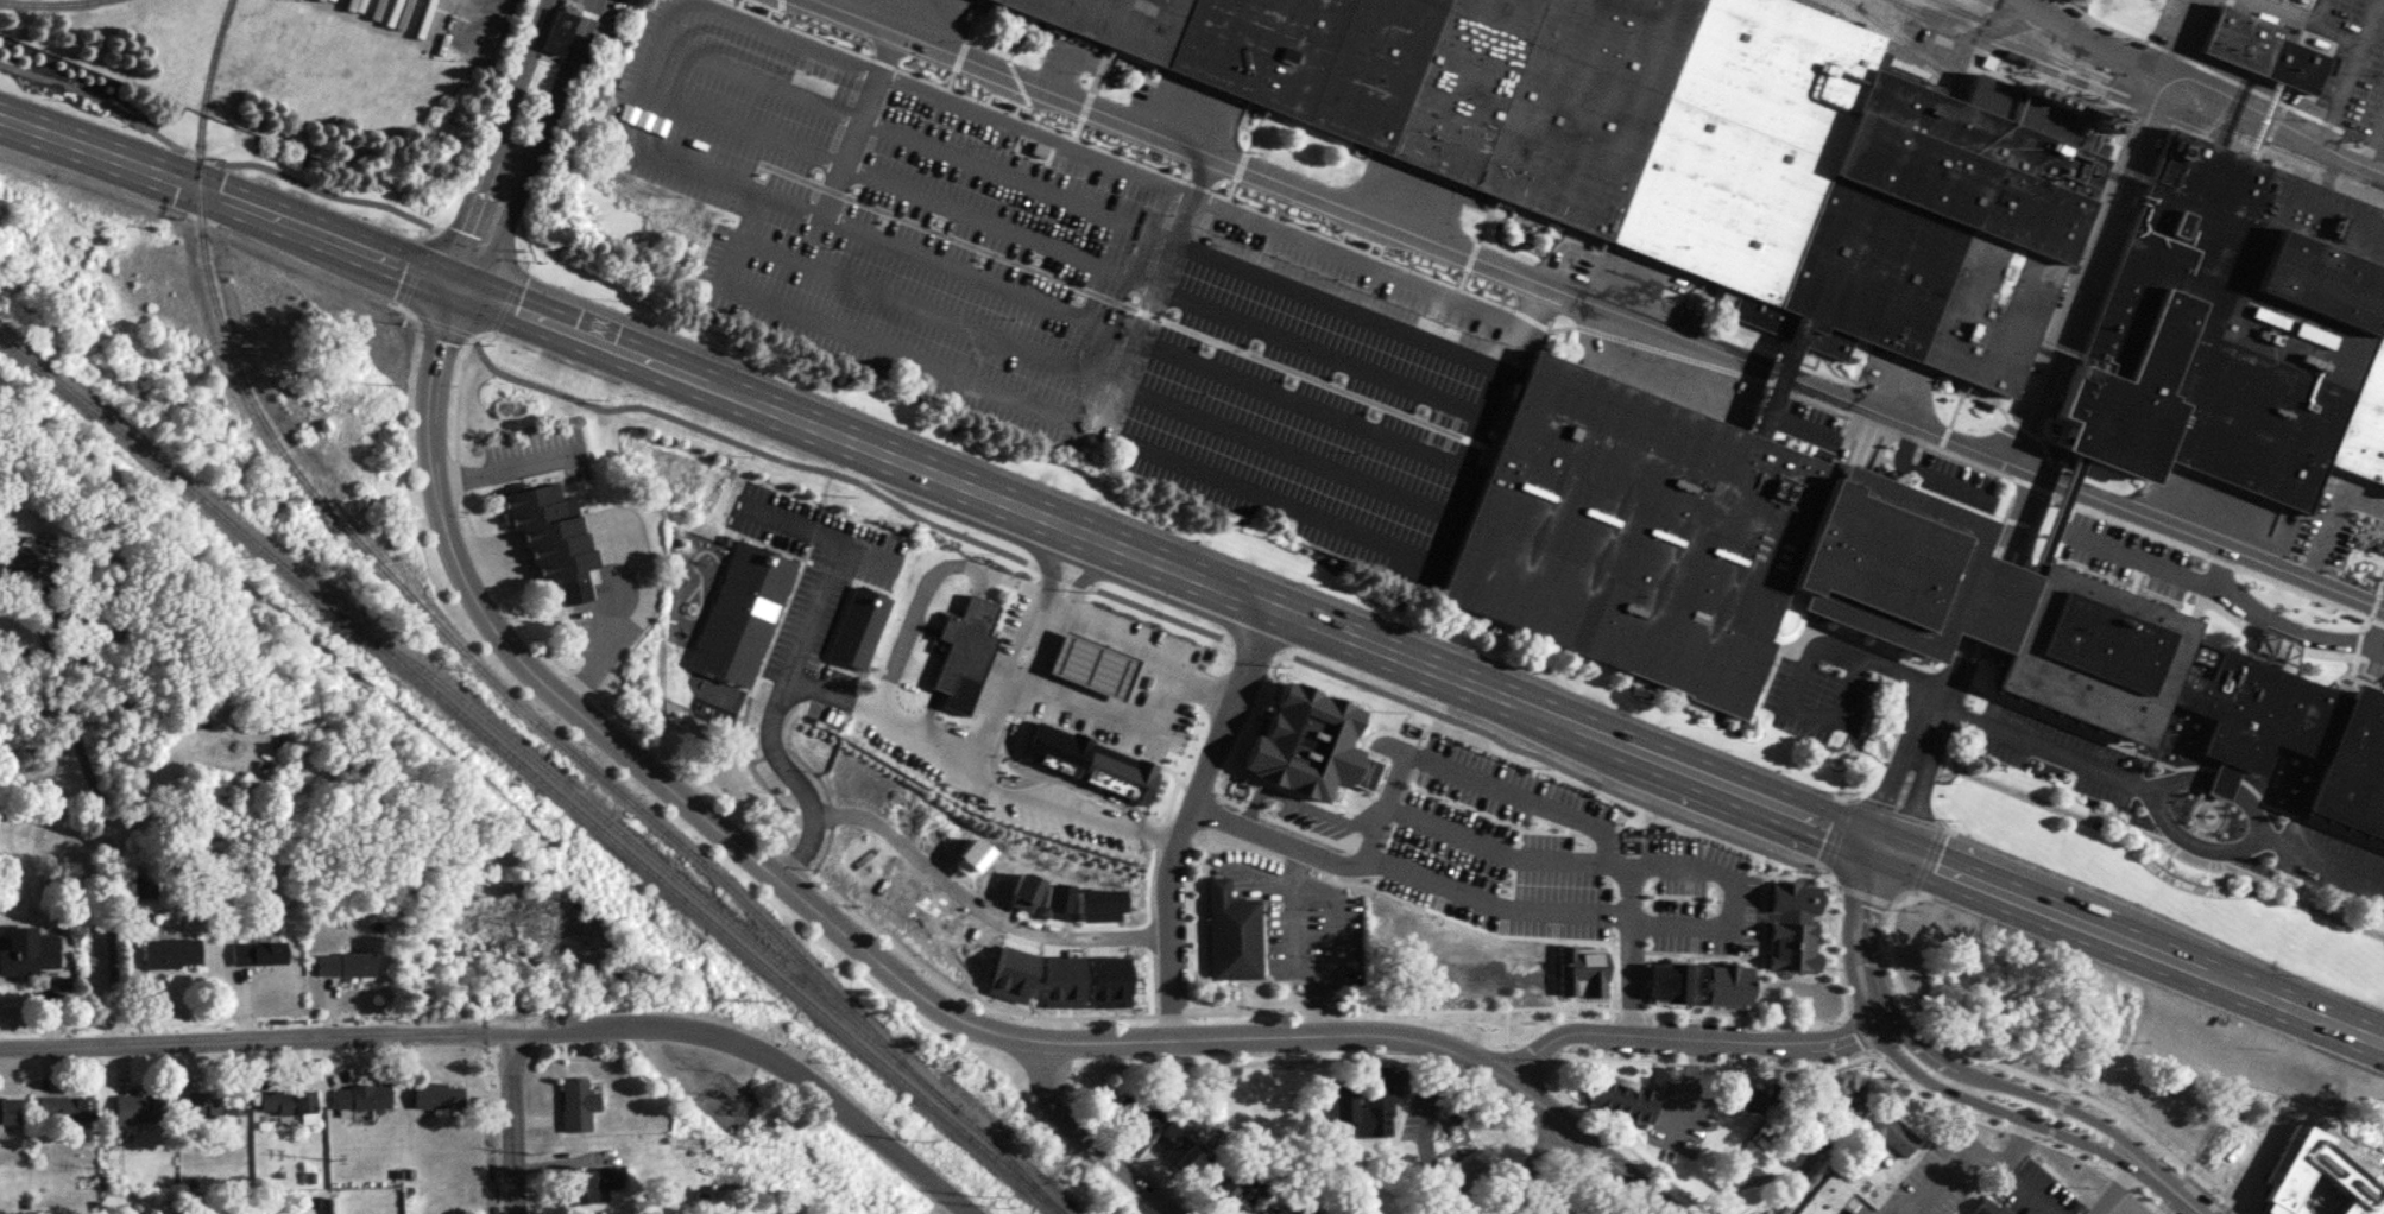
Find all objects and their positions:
railway: (40, 2)
railway: (1953, 5)
railway: (2013, 13)
road: (2298, 13)
railway: (2004, 26)
building: (555, 31)
road: (2088, 36)
railway: (1910, 40)
road: (654, 46)
building: (2254, 49)
road: (2344, 70)
railway: (2169, 84)
railway: (2140, 93)
road: (2270, 118)
road: (856, 122)
road: (2373, 132)
road: (1150, 133)
road: (492, 140)
building: (1684, 143)
road: (530, 147)
building: (1038, 150)
road: (216, 159)
road: (723, 177)
road: (1197, 195)
road: (431, 234)
road: (2092, 236)
road: (479, 244)
road: (283, 252)
road: (523, 260)
road: (1489, 264)
road: (415, 271)
road: (980, 276)
traffic signals: (455, 286)
road: (507, 297)
road: (403, 303)
road: (443, 322)
road: (492, 329)
building: (2232, 329)
road: (472, 334)
road: (864, 343)
road: (1777, 374)
road: (1921, 431)
road: (746, 444)
road: (939, 474)
road: (2063, 487)
road: (2012, 521)
parking lot: (818, 529)
road: (818, 531)
building: (545, 532)
road: (2227, 546)
road: (1043, 552)
building: (29, 559)
road: (1033, 562)
road: (1404, 562)
road: (1048, 568)
road: (1084, 569)
road: (1065, 575)
road: (1079, 581)
building: (1835, 586)
road: (1978, 603)
road: (1160, 611)
railway: (431, 612)
building: (743, 612)
parking lot: (807, 618)
road: (525, 624)
building: (860, 624)
road: (907, 630)
road: (1133, 633)
road: (1116, 637)
road: (1255, 645)
road: (1042, 646)
road: (794, 650)
building: (961, 651)
road: (1875, 658)
building: (1095, 665)
gas station: (1095, 665)
road: (1103, 669)
road: (1885, 669)
road: (1941, 691)
road: (1089, 700)
parking lot: (1816, 700)
road: (995, 710)
road: (1816, 717)
road: (1250, 720)
road: (1858, 739)
road: (616, 742)
road: (2041, 745)
building: (1093, 763)
road: (1173, 771)
railway: (535, 772)
road: (1471, 777)
road: (795, 778)
road: (2222, 782)
parking lot: (1503, 785)
road: (1200, 788)
road: (1888, 788)
road: (1219, 793)
road: (1234, 798)
road: (1852, 798)
road: (1911, 798)
road: (1254, 808)
road: (1392, 808)
road: (1897, 813)
road: (1190, 817)
building: (1411, 820)
road: (1711, 827)
road: (1314, 832)
road: (1837, 832)
road: (103, 833)
road: (1288, 842)
traffic signals: (1877, 842)
road: (2195, 842)
road: (1496, 847)
road: (1926, 855)
road: (794, 856)
road: (1602, 856)
road: (2328, 861)
parking lot: (1493, 870)
road: (1823, 870)
road: (1836, 884)
road: (1323, 890)
road: (1913, 891)
parking lot: (1701, 893)
road: (1862, 893)
road: (1496, 900)
railway: (711, 902)
road: (1892, 903)
road: (978, 904)
road: (1621, 913)
road: (2163, 916)
road: (1720, 923)
road: (1760, 931)
building: (1230, 932)
road: (1858, 932)
road: (1609, 938)
road: (2130, 943)
building: (1511, 944)
road: (1631, 944)
building: (176, 951)
building: (263, 951)
road: (1702, 951)
building: (33, 955)
road: (1303, 960)
building: (349, 962)
road: (2156, 984)
road: (960, 989)
road: (1401, 1007)
road: (1632, 1007)
road: (1847, 1008)
road: (1169, 1012)
road: (1079, 1019)
building: (1891, 1020)
road: (516, 1026)
road: (1506, 1026)
road: (1860, 1028)
road: (1282, 1036)
road: (1689, 1036)
road: (1079, 1039)
road: (1374, 1057)
road: (1524, 1058)
road: (1703, 1060)
road: (1081, 1061)
road: (2018, 1068)
road: (1061, 1079)
building: (1379, 1087)
road: (2027, 1090)
building: (440, 1094)
building: (365, 1095)
road: (1930, 1095)
building: (1846, 1096)
building: (1743, 1099)
building: (291, 1100)
building: (1620, 1100)
building: (219, 1101)
building: (578, 1104)
building: (144, 1106)
building: (69, 1108)
building: (12, 1109)
building: (1124, 1109)
building: (1155, 1111)
road: (2010, 1113)
road: (2055, 1113)
road: (512, 1120)
building: (1770, 1127)
road: (2018, 1130)
building: (1171, 1131)
building: (1884, 1134)
road: (1087, 1139)
road: (1625, 1143)
road: (1591, 1147)
road: (2074, 1151)
road: (1128, 1152)
building: (1240, 1156)
road: (1951, 1161)
building: (1187, 1162)
building: (2186, 1165)
building: (1463, 1168)
road: (1531, 1170)
road: (2012, 1170)
parking lot: (1940, 1171)
road: (2123, 1181)
building: (597, 1183)
building: (2307, 1183)
road: (2113, 1189)
parking lot: (2032, 1190)
road: (2184, 1195)
building: (1230, 1197)
building: (1827, 1197)
road: (2146, 1201)
parking lot: (1855, 1207)
building: (1986, 1207)
building: (1260, 1209)
building: (1550, 1212)
road: (1893, 1213)

